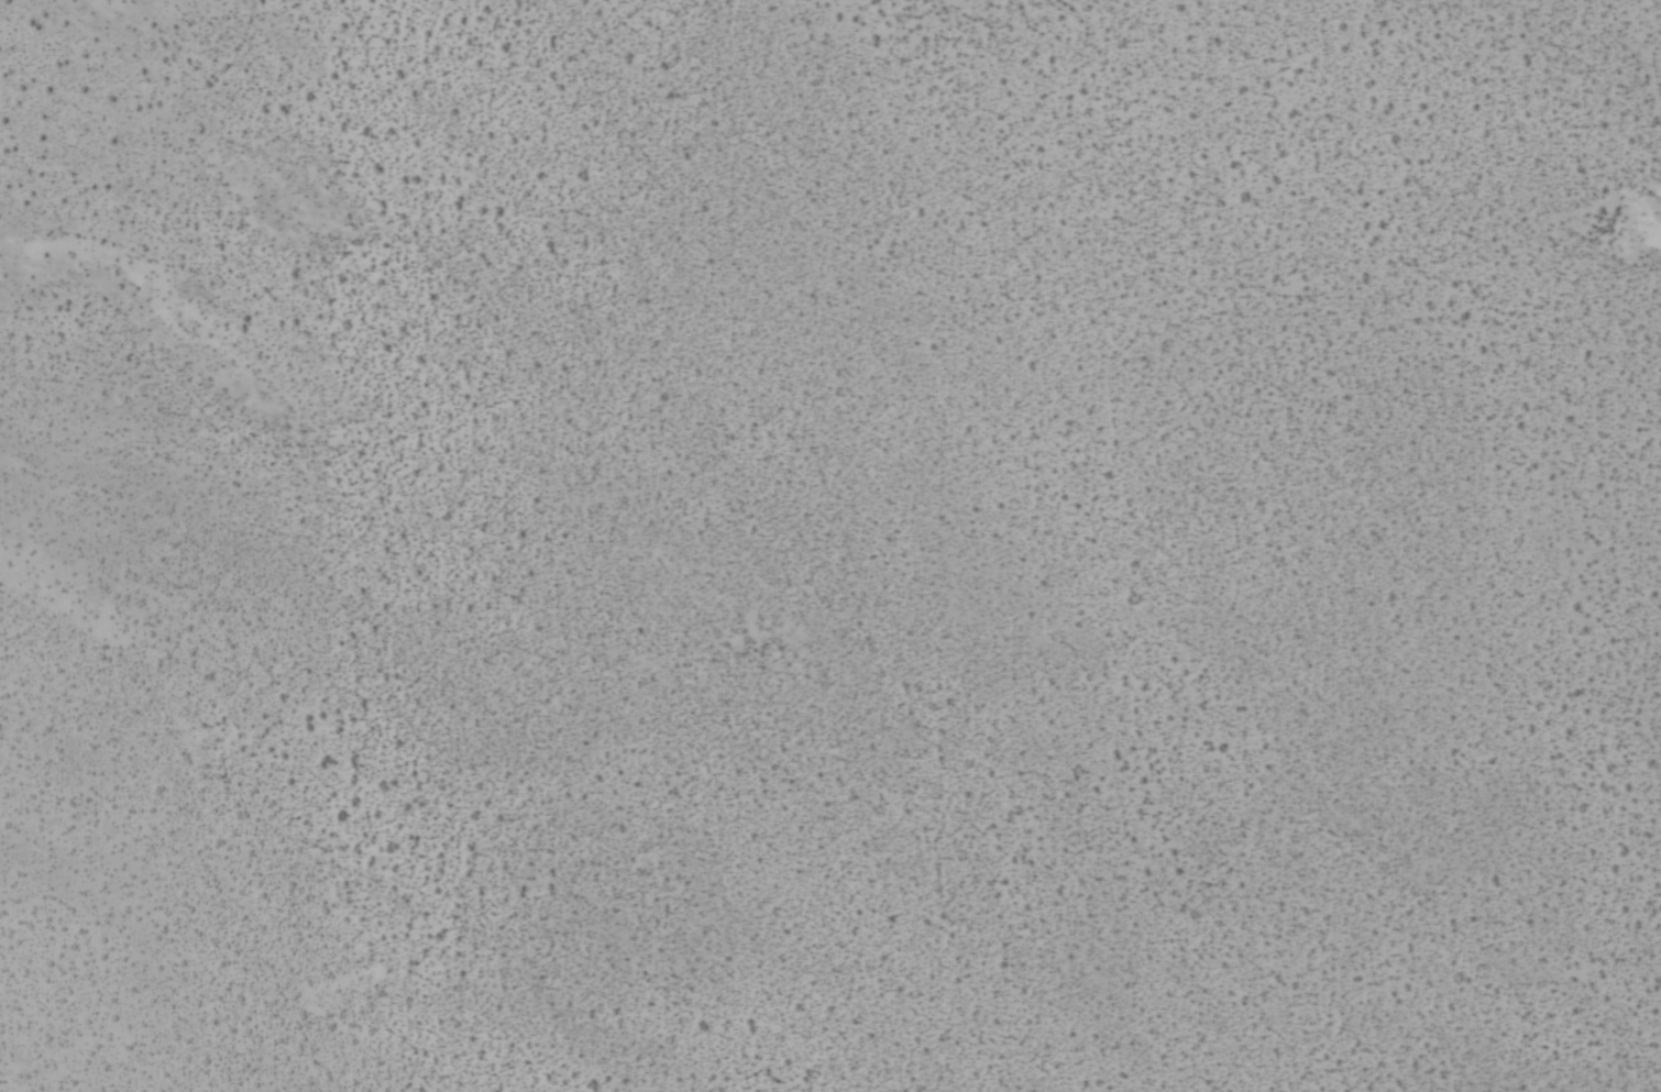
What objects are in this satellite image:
road: (1648, 44)

